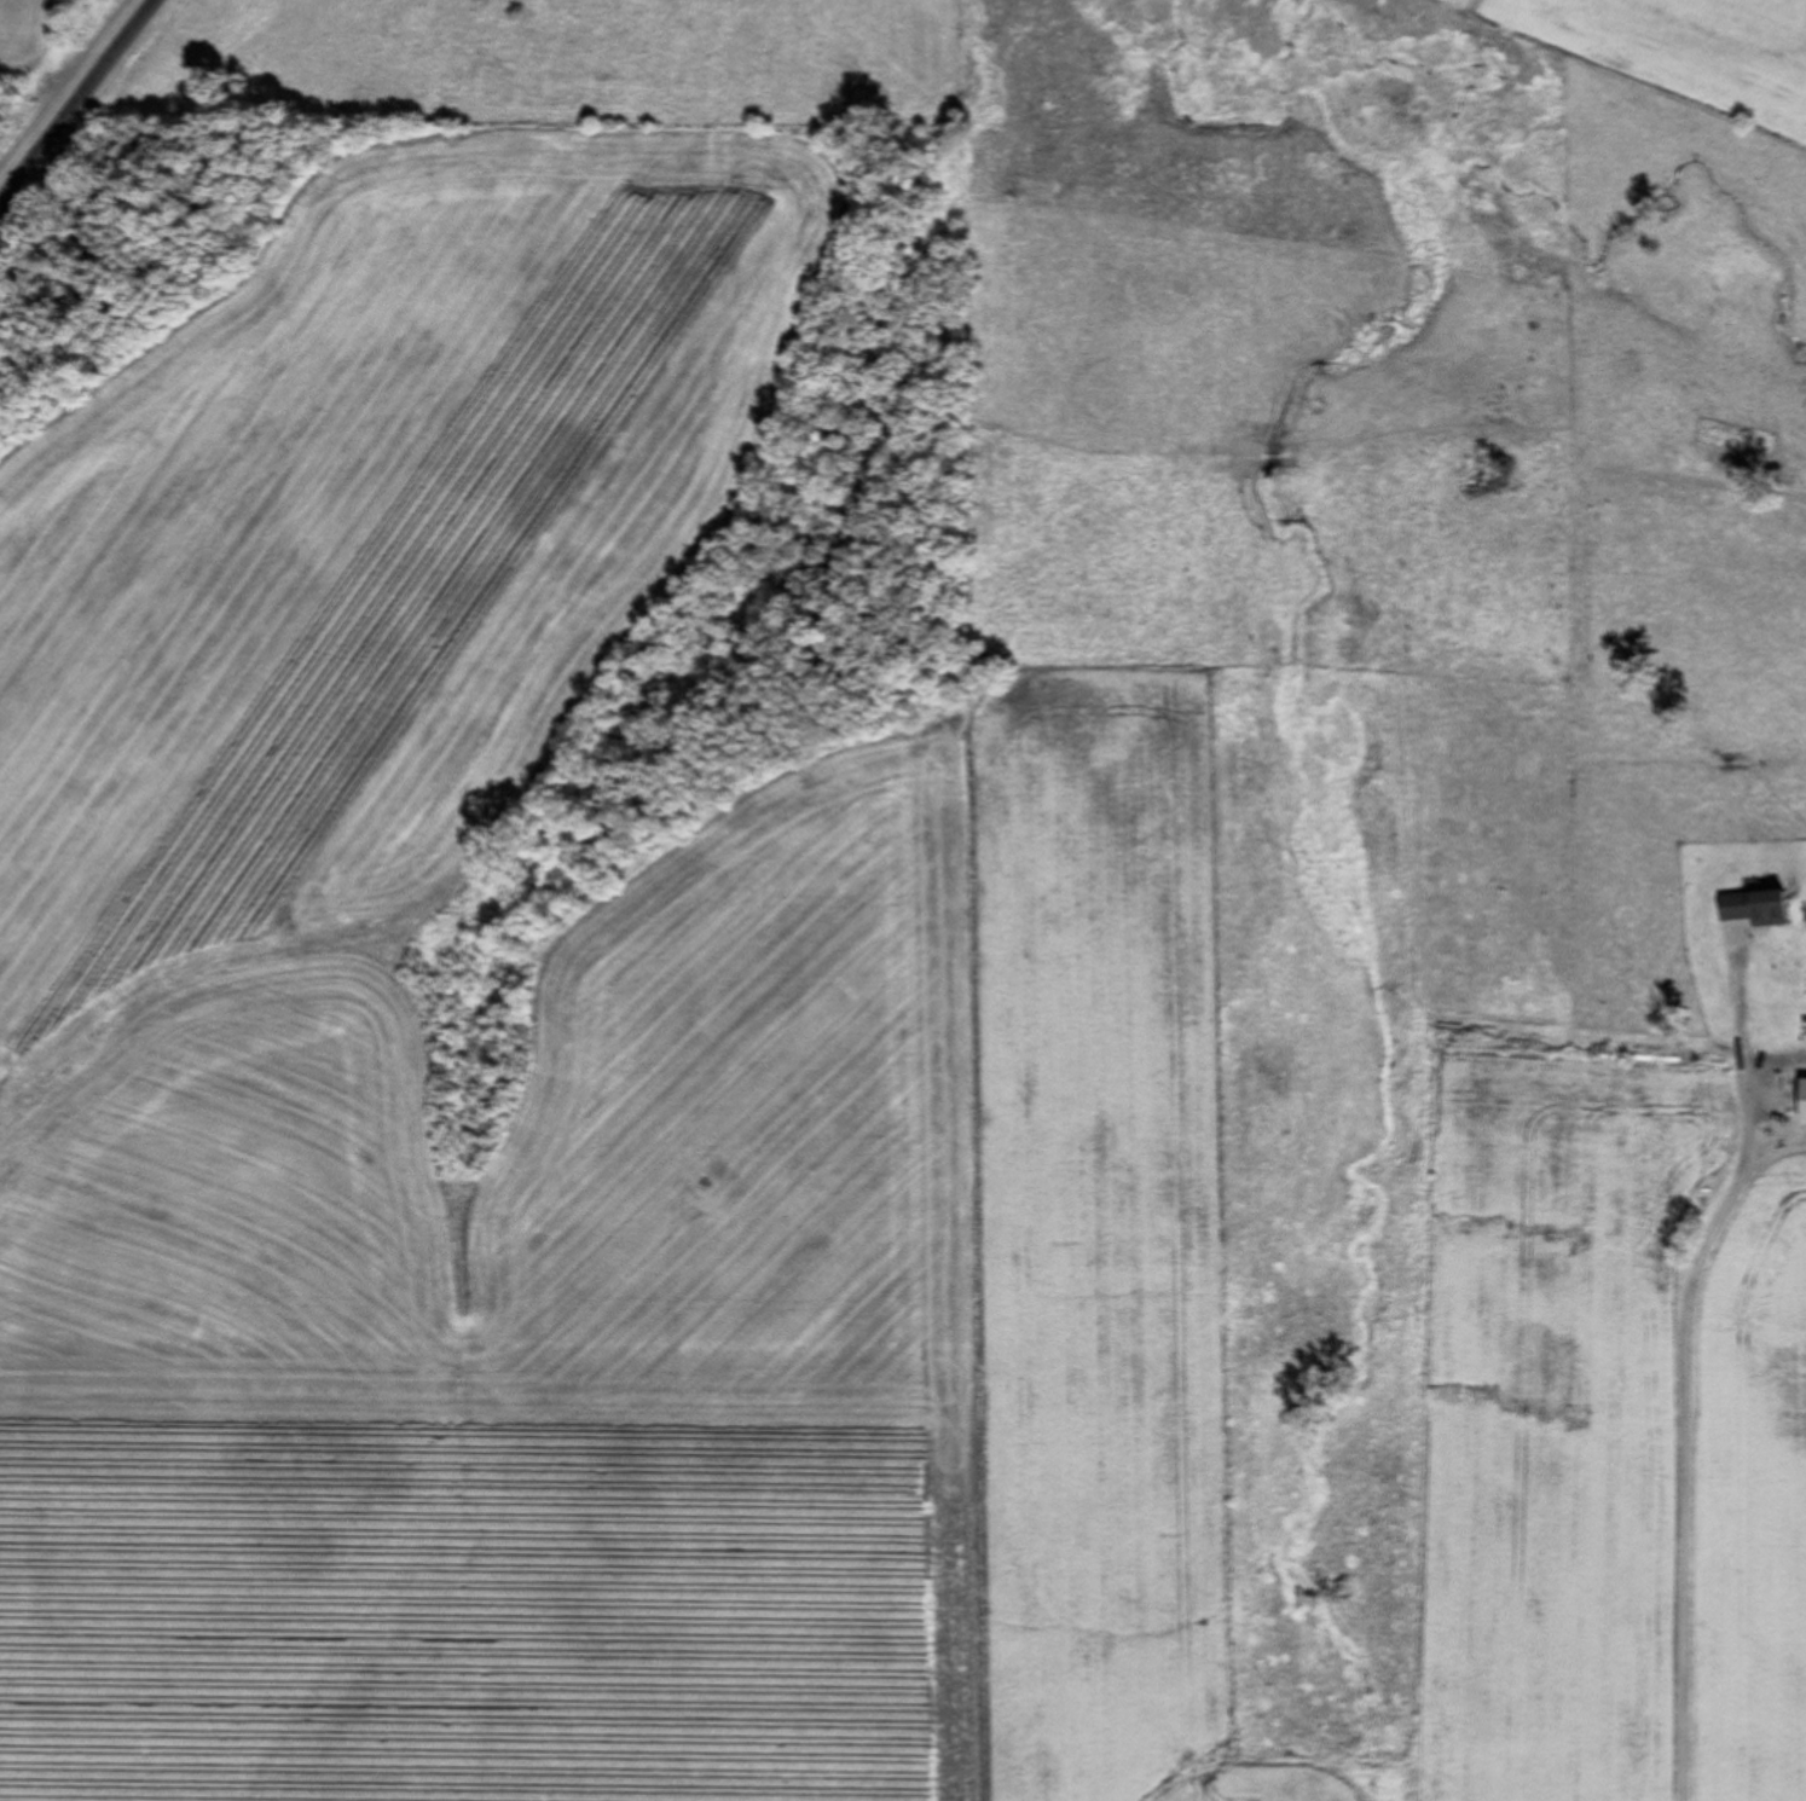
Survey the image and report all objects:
road: (77, 100)
building: (1748, 908)
road: (1677, 1429)

